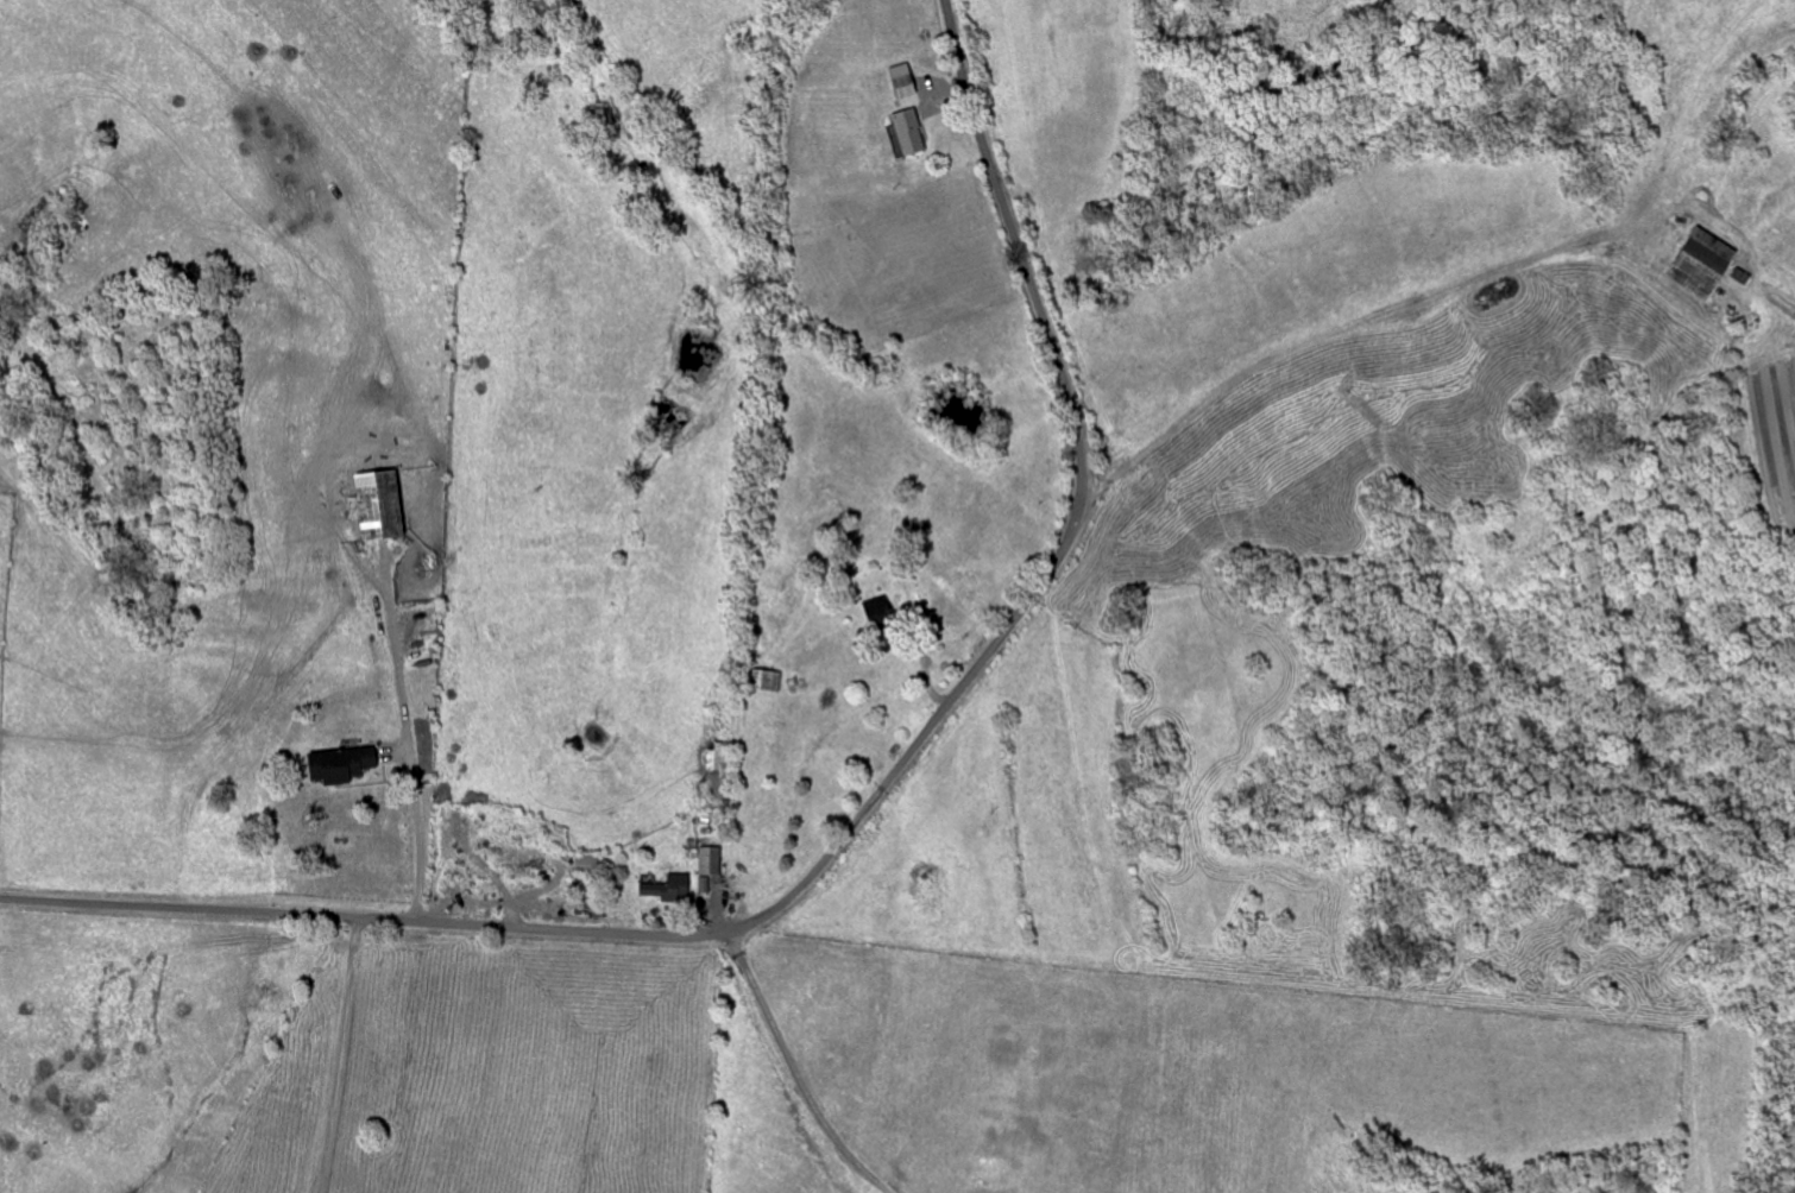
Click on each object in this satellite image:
building: (908, 81)
building: (913, 133)
building: (1708, 265)
road: (1334, 347)
building: (882, 613)
road: (971, 675)
road: (411, 740)
building: (720, 758)
building: (345, 765)
building: (713, 863)
building: (590, 864)
building: (672, 889)
road: (179, 909)
road: (334, 1055)
road: (800, 1068)

